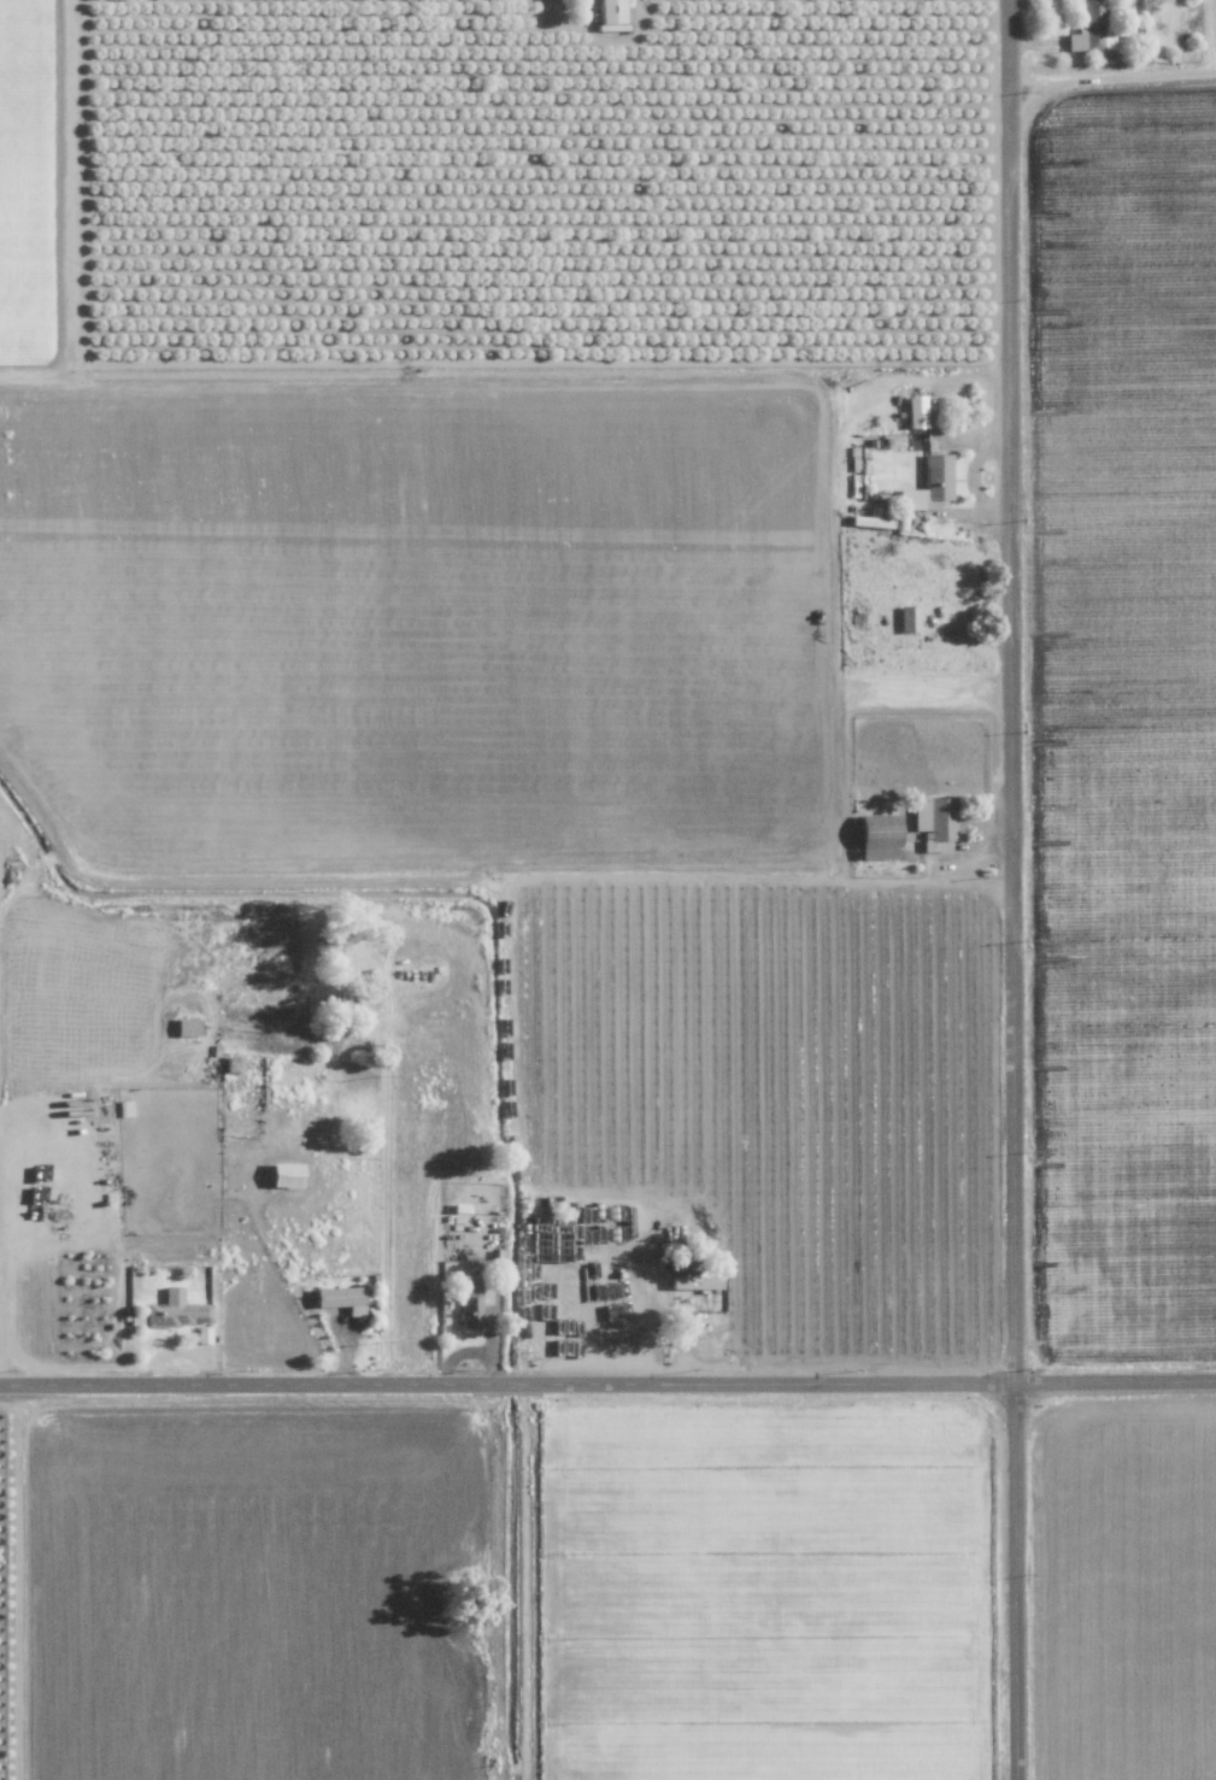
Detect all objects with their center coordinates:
building: (610, 11)
building: (1091, 28)
road: (1110, 74)
building: (916, 411)
building: (929, 484)
road: (1017, 691)
building: (935, 822)
building: (186, 1027)
building: (339, 1296)
building: (469, 1305)
road: (1115, 1376)
road: (507, 1382)
road: (1017, 1580)

